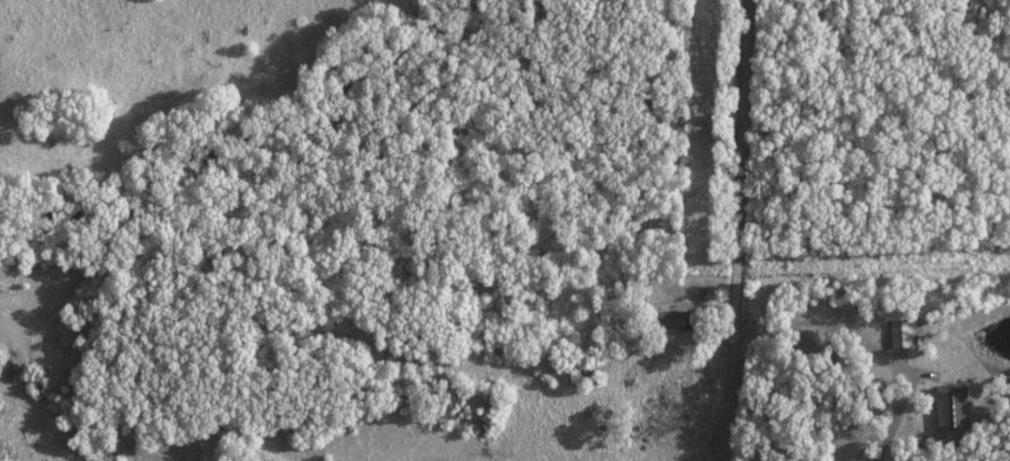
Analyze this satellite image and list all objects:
road: (734, 230)
building: (669, 319)
road: (805, 321)
building: (897, 334)
building: (583, 372)
building: (949, 407)
building: (901, 426)

